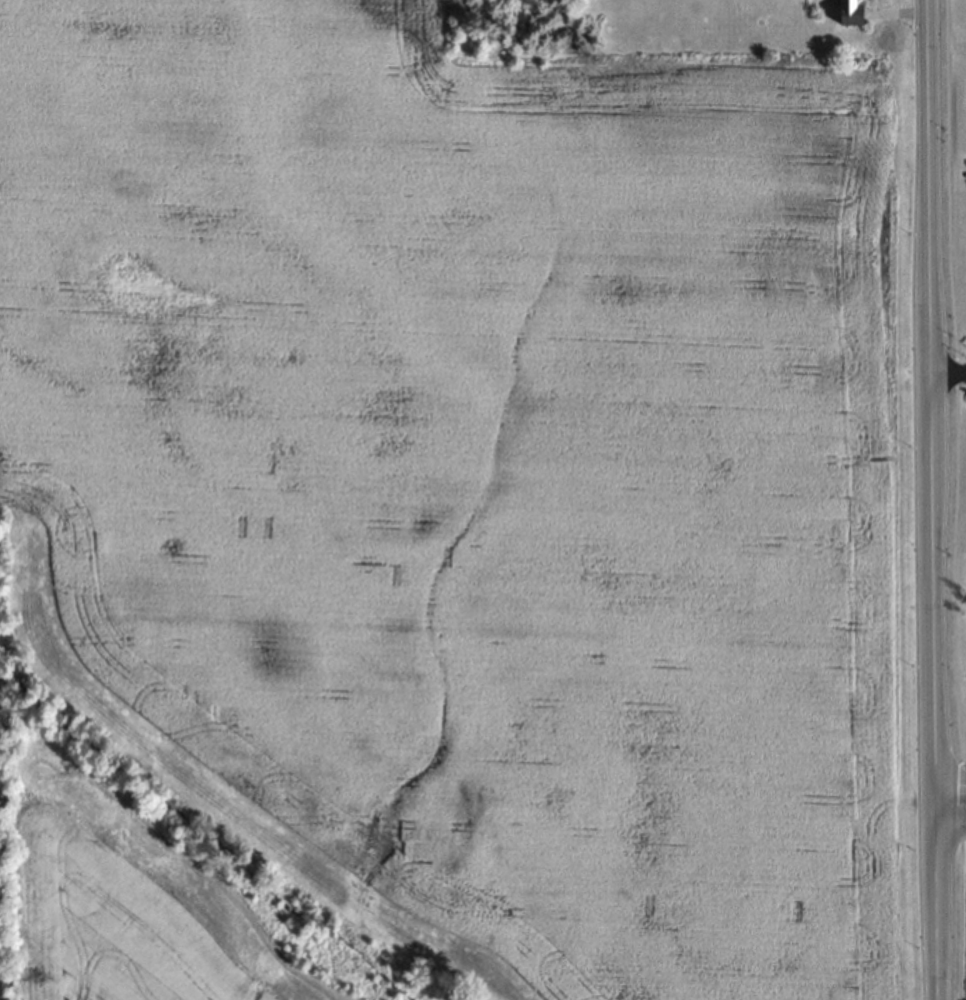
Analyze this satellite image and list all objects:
building: (847, 12)
road: (948, 375)
road: (933, 500)
crop: (454, 511)
road: (952, 787)
road: (952, 820)

